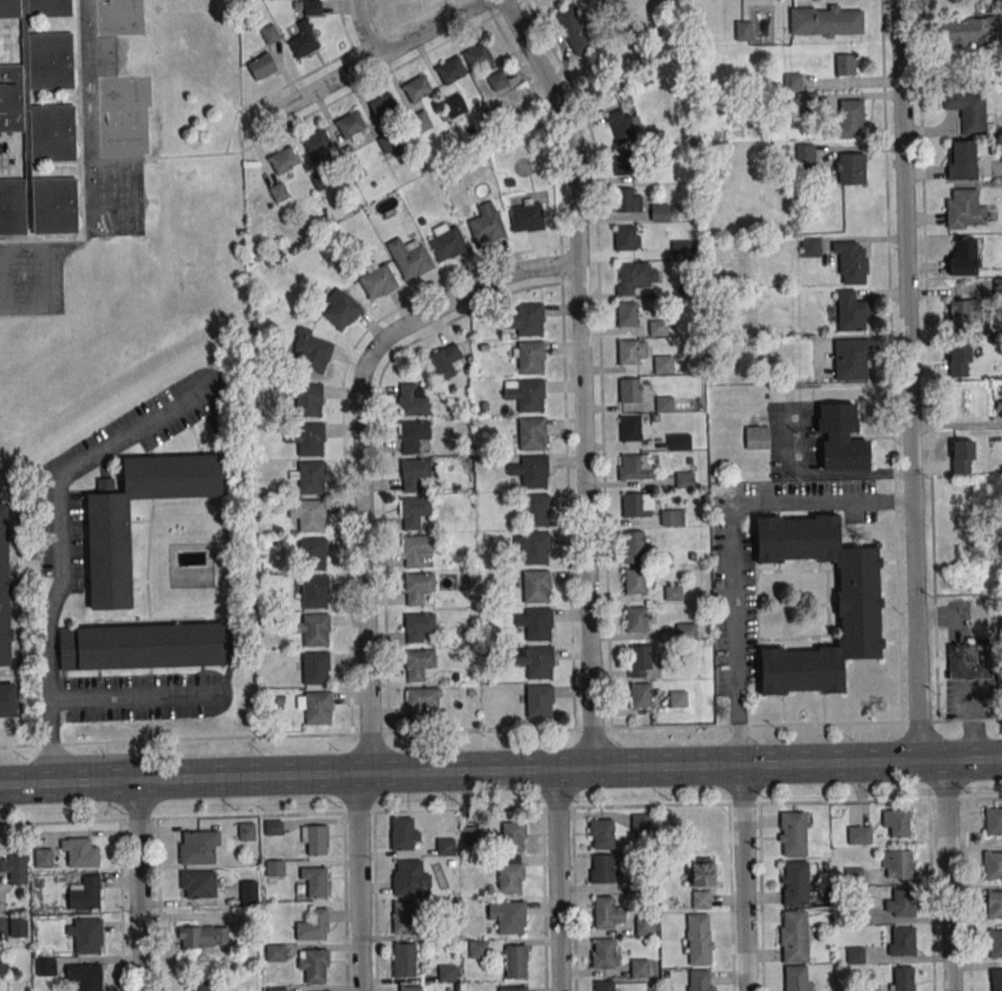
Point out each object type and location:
building: (312, 7)
building: (824, 21)
road: (363, 29)
building: (573, 30)
building: (742, 30)
building: (970, 30)
building: (270, 34)
road: (376, 36)
building: (302, 44)
building: (476, 55)
road: (365, 63)
building: (844, 64)
building: (261, 66)
building: (450, 69)
building: (792, 81)
building: (416, 88)
road: (275, 89)
road: (338, 98)
building: (800, 101)
building: (454, 105)
building: (383, 106)
building: (967, 110)
building: (850, 118)
building: (421, 121)
building: (38, 123)
building: (350, 124)
building: (620, 125)
building: (315, 142)
building: (801, 153)
parking lot: (8, 156)
building: (961, 159)
road: (4, 161)
building: (282, 161)
building: (623, 163)
building: (850, 168)
building: (623, 200)
building: (964, 209)
building: (659, 212)
building: (526, 216)
building: (486, 223)
building: (624, 237)
building: (447, 242)
road: (45, 246)
building: (810, 247)
building: (681, 249)
building: (963, 256)
building: (410, 258)
building: (851, 262)
parking lot: (30, 274)
building: (636, 277)
building: (377, 280)
building: (998, 288)
road: (1, 303)
building: (341, 308)
building: (964, 310)
building: (850, 311)
building: (627, 313)
building: (525, 319)
building: (657, 327)
building: (310, 351)
building: (627, 352)
building: (530, 357)
building: (959, 359)
building: (851, 360)
building: (446, 361)
building: (662, 364)
road: (907, 381)
building: (628, 390)
building: (530, 395)
building: (413, 399)
building: (308, 400)
building: (663, 404)
building: (1000, 408)
road: (954, 424)
building: (630, 428)
building: (531, 434)
building: (413, 435)
building: (756, 437)
building: (305, 438)
building: (841, 438)
building: (678, 441)
building: (961, 456)
building: (630, 466)
building: (533, 471)
building: (415, 475)
building: (310, 477)
building: (684, 480)
road: (585, 491)
building: (632, 505)
building: (535, 510)
building: (413, 512)
building: (309, 514)
building: (671, 517)
building: (633, 543)
building: (534, 548)
road: (731, 550)
building: (416, 551)
road: (60, 553)
building: (313, 553)
building: (109, 554)
road: (361, 556)
building: (634, 580)
building: (535, 586)
building: (4, 588)
building: (418, 589)
building: (315, 591)
building: (673, 593)
building: (858, 604)
road: (947, 615)
building: (635, 619)
building: (538, 624)
building: (419, 627)
building: (315, 629)
building: (685, 631)
building: (142, 646)
building: (969, 660)
building: (642, 661)
building: (539, 663)
building: (418, 664)
building: (316, 668)
building: (640, 695)
road: (135, 696)
building: (677, 698)
building: (538, 700)
building: (7, 701)
building: (421, 701)
building: (315, 706)
road: (973, 722)
road: (500, 730)
road: (500, 769)
road: (500, 809)
building: (993, 821)
building: (640, 822)
building: (896, 822)
building: (273, 827)
building: (247, 831)
building: (404, 834)
building: (601, 834)
building: (792, 834)
building: (858, 834)
building: (471, 835)
building: (513, 836)
building: (315, 839)
building: (446, 846)
building: (199, 847)
building: (80, 852)
building: (43, 858)
building: (896, 864)
building: (993, 865)
building: (275, 867)
building: (14, 868)
building: (605, 870)
building: (702, 872)
building: (510, 875)
road: (948, 875)
building: (853, 876)
road: (744, 877)
building: (410, 878)
building: (315, 881)
building: (794, 882)
building: (198, 884)
road: (138, 885)
building: (249, 891)
building: (85, 893)
road: (930, 895)
road: (966, 895)
road: (730, 897)
road: (760, 897)
building: (700, 900)
road: (374, 901)
road: (344, 902)
building: (900, 904)
building: (994, 905)
building: (607, 913)
building: (508, 915)
building: (403, 917)
building: (313, 925)
building: (644, 925)
building: (17, 926)
building: (86, 935)
building: (203, 936)
building: (794, 936)
building: (698, 939)
building: (899, 942)
building: (995, 943)
building: (478, 949)
building: (276, 953)
building: (605, 953)
building: (854, 955)
building: (405, 959)
building: (516, 961)
building: (45, 966)
building: (315, 966)
building: (639, 967)
building: (447, 972)
building: (85, 976)
building: (795, 978)
building: (902, 978)
building: (996, 979)
building: (698, 980)
building: (199, 984)
building: (604, 986)
building: (865, 987)
building: (410, 988)
building: (512, 988)
building: (276, 989)

